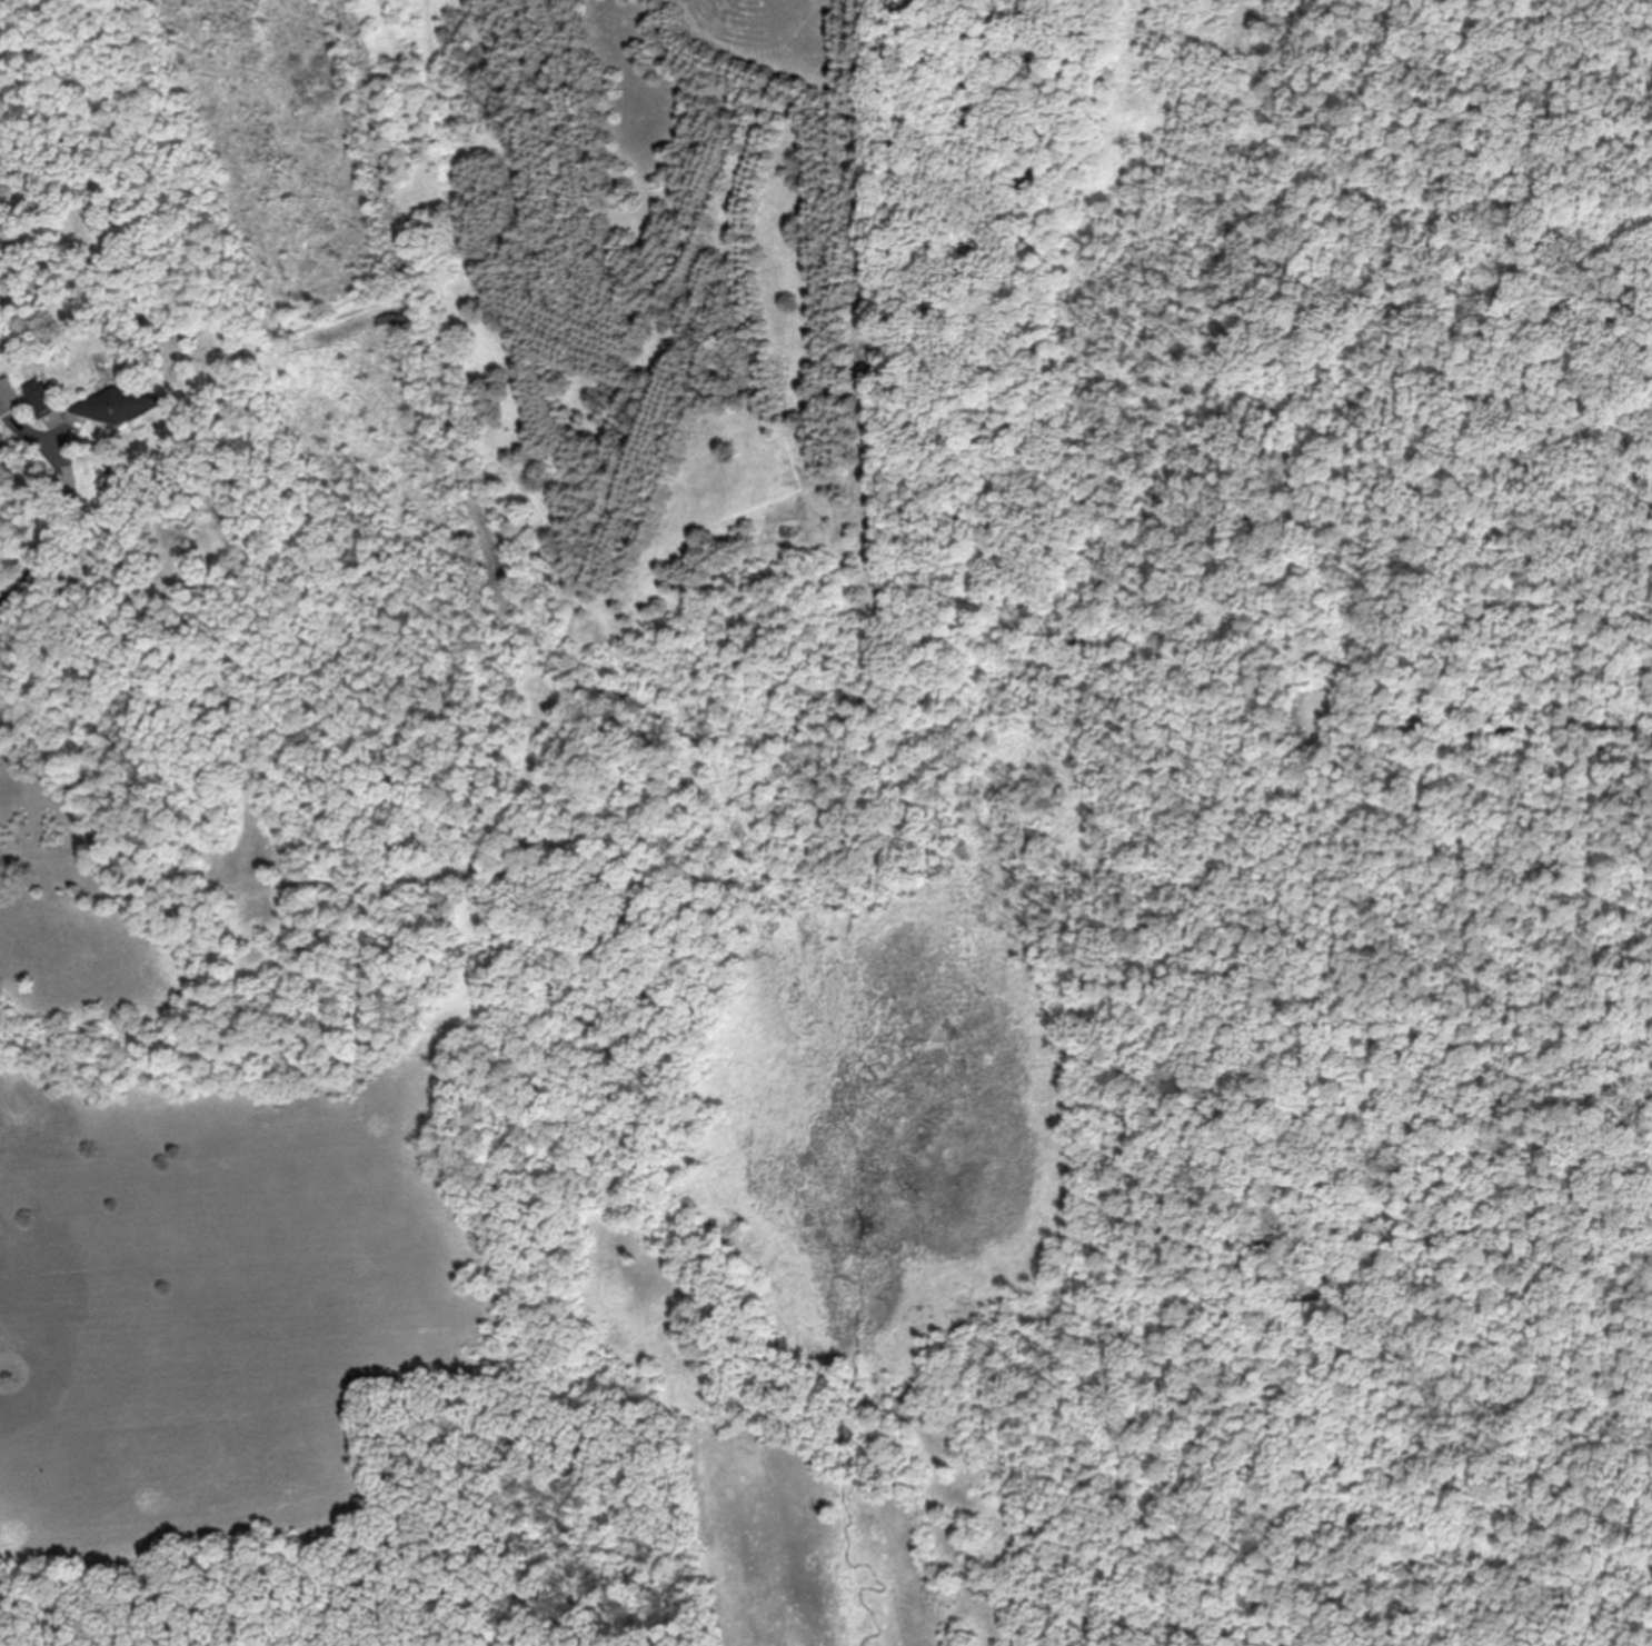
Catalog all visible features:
building: (8, 398)
building: (39, 398)
building: (773, 778)

